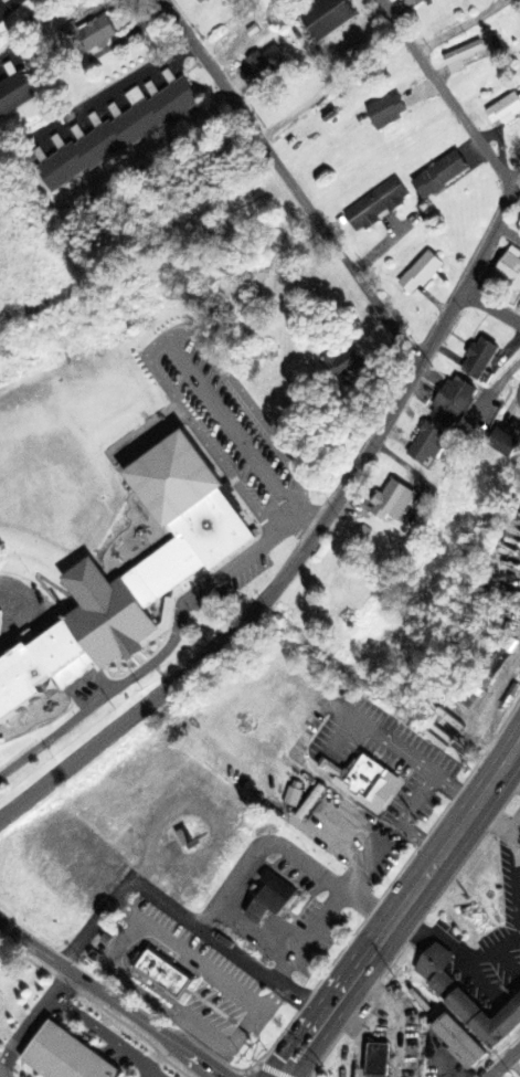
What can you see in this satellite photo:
building: (204, 2)
building: (411, 2)
building: (327, 19)
road: (454, 24)
building: (95, 35)
building: (460, 59)
building: (262, 67)
road: (446, 93)
building: (15, 95)
building: (386, 112)
building: (503, 112)
building: (117, 136)
building: (439, 177)
road: (291, 181)
building: (375, 207)
building: (510, 267)
building: (420, 275)
road: (490, 303)
building: (479, 361)
building: (344, 365)
building: (453, 404)
building: (503, 444)
building: (428, 445)
building: (392, 504)
road: (309, 538)
building: (131, 580)
building: (365, 781)
building: (291, 798)
building: (309, 803)
building: (269, 899)
road: (402, 905)
building: (163, 974)
road: (112, 999)
building: (467, 1001)
building: (457, 1042)
building: (64, 1057)
road: (501, 1059)
building: (375, 1060)

